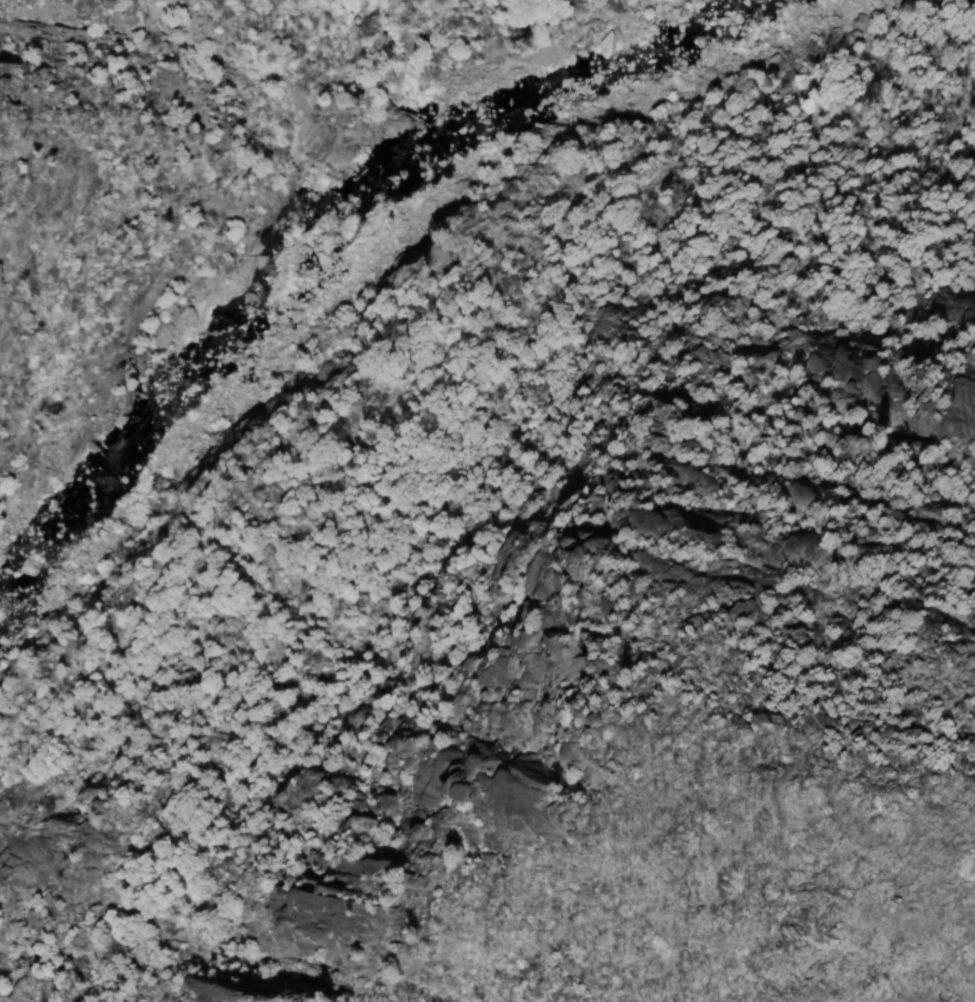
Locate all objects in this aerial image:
river: (325, 227)

